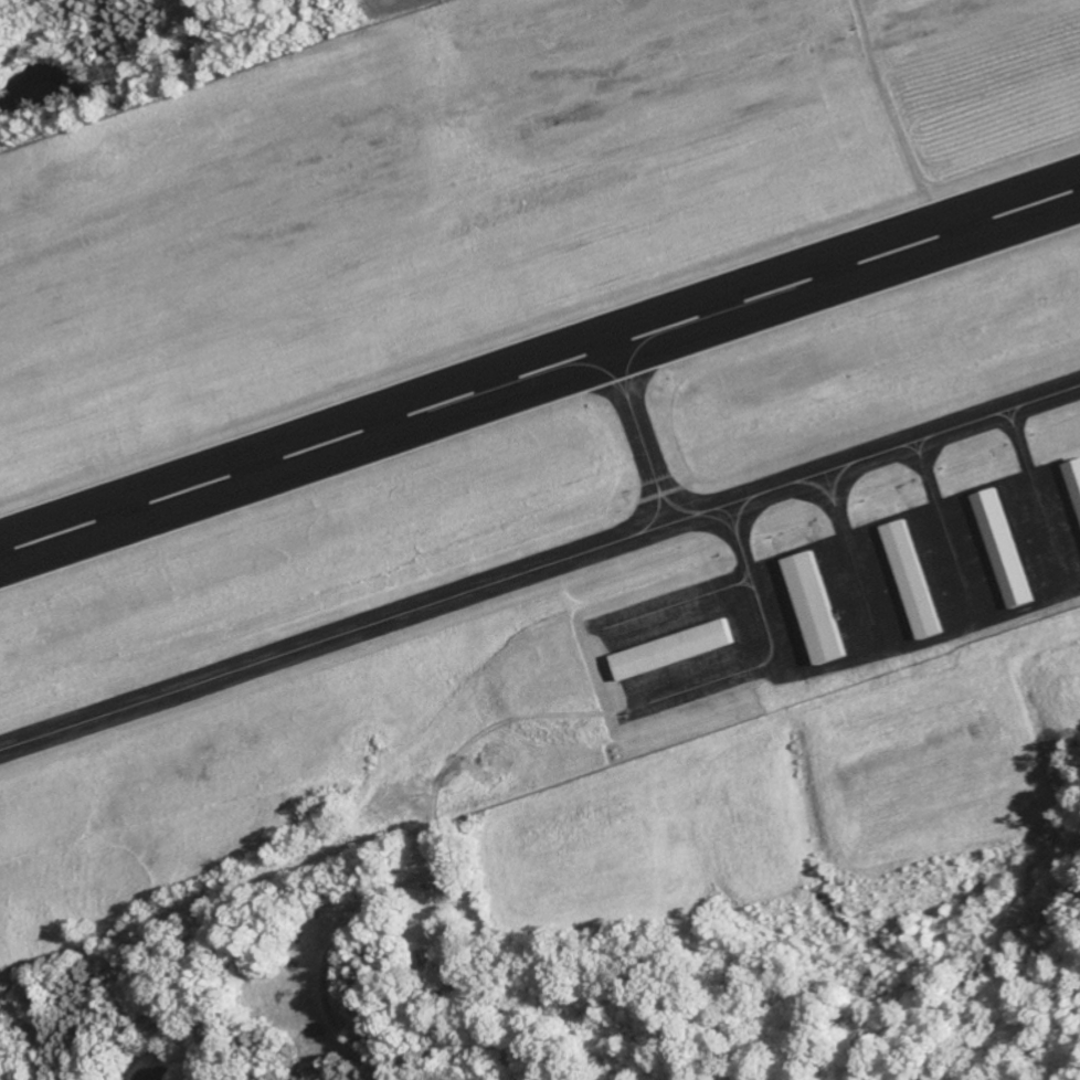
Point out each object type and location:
airport runway: (540, 371)
airport taxiway: (643, 434)
building: (1073, 479)
airport taxiway: (1038, 496)
airport taxiway: (943, 523)
building: (1002, 548)
airport taxiway: (851, 558)
airport taxiway: (540, 567)
building: (909, 578)
airport taxiway: (752, 585)
building: (812, 608)
building: (671, 649)

